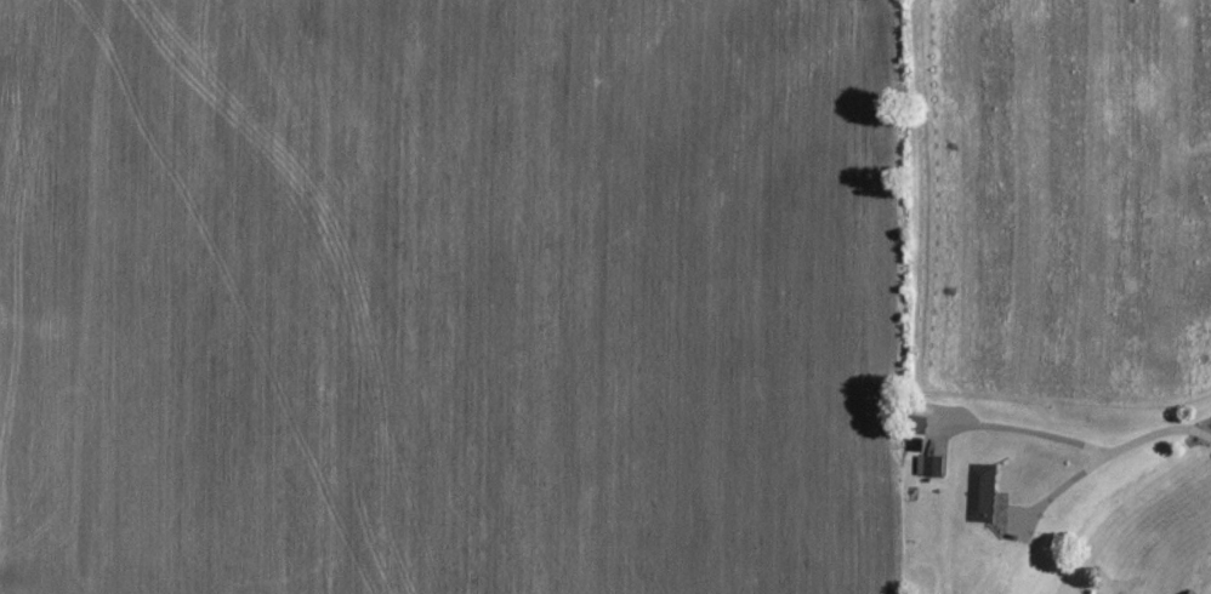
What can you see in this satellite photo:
road: (1081, 449)
building: (929, 466)
building: (980, 493)

